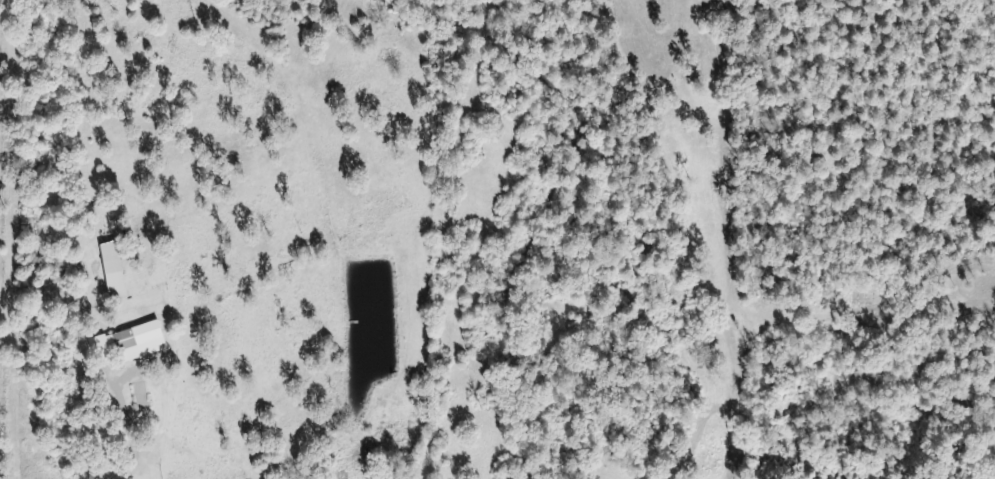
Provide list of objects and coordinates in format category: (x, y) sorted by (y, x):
building: (120, 342)

